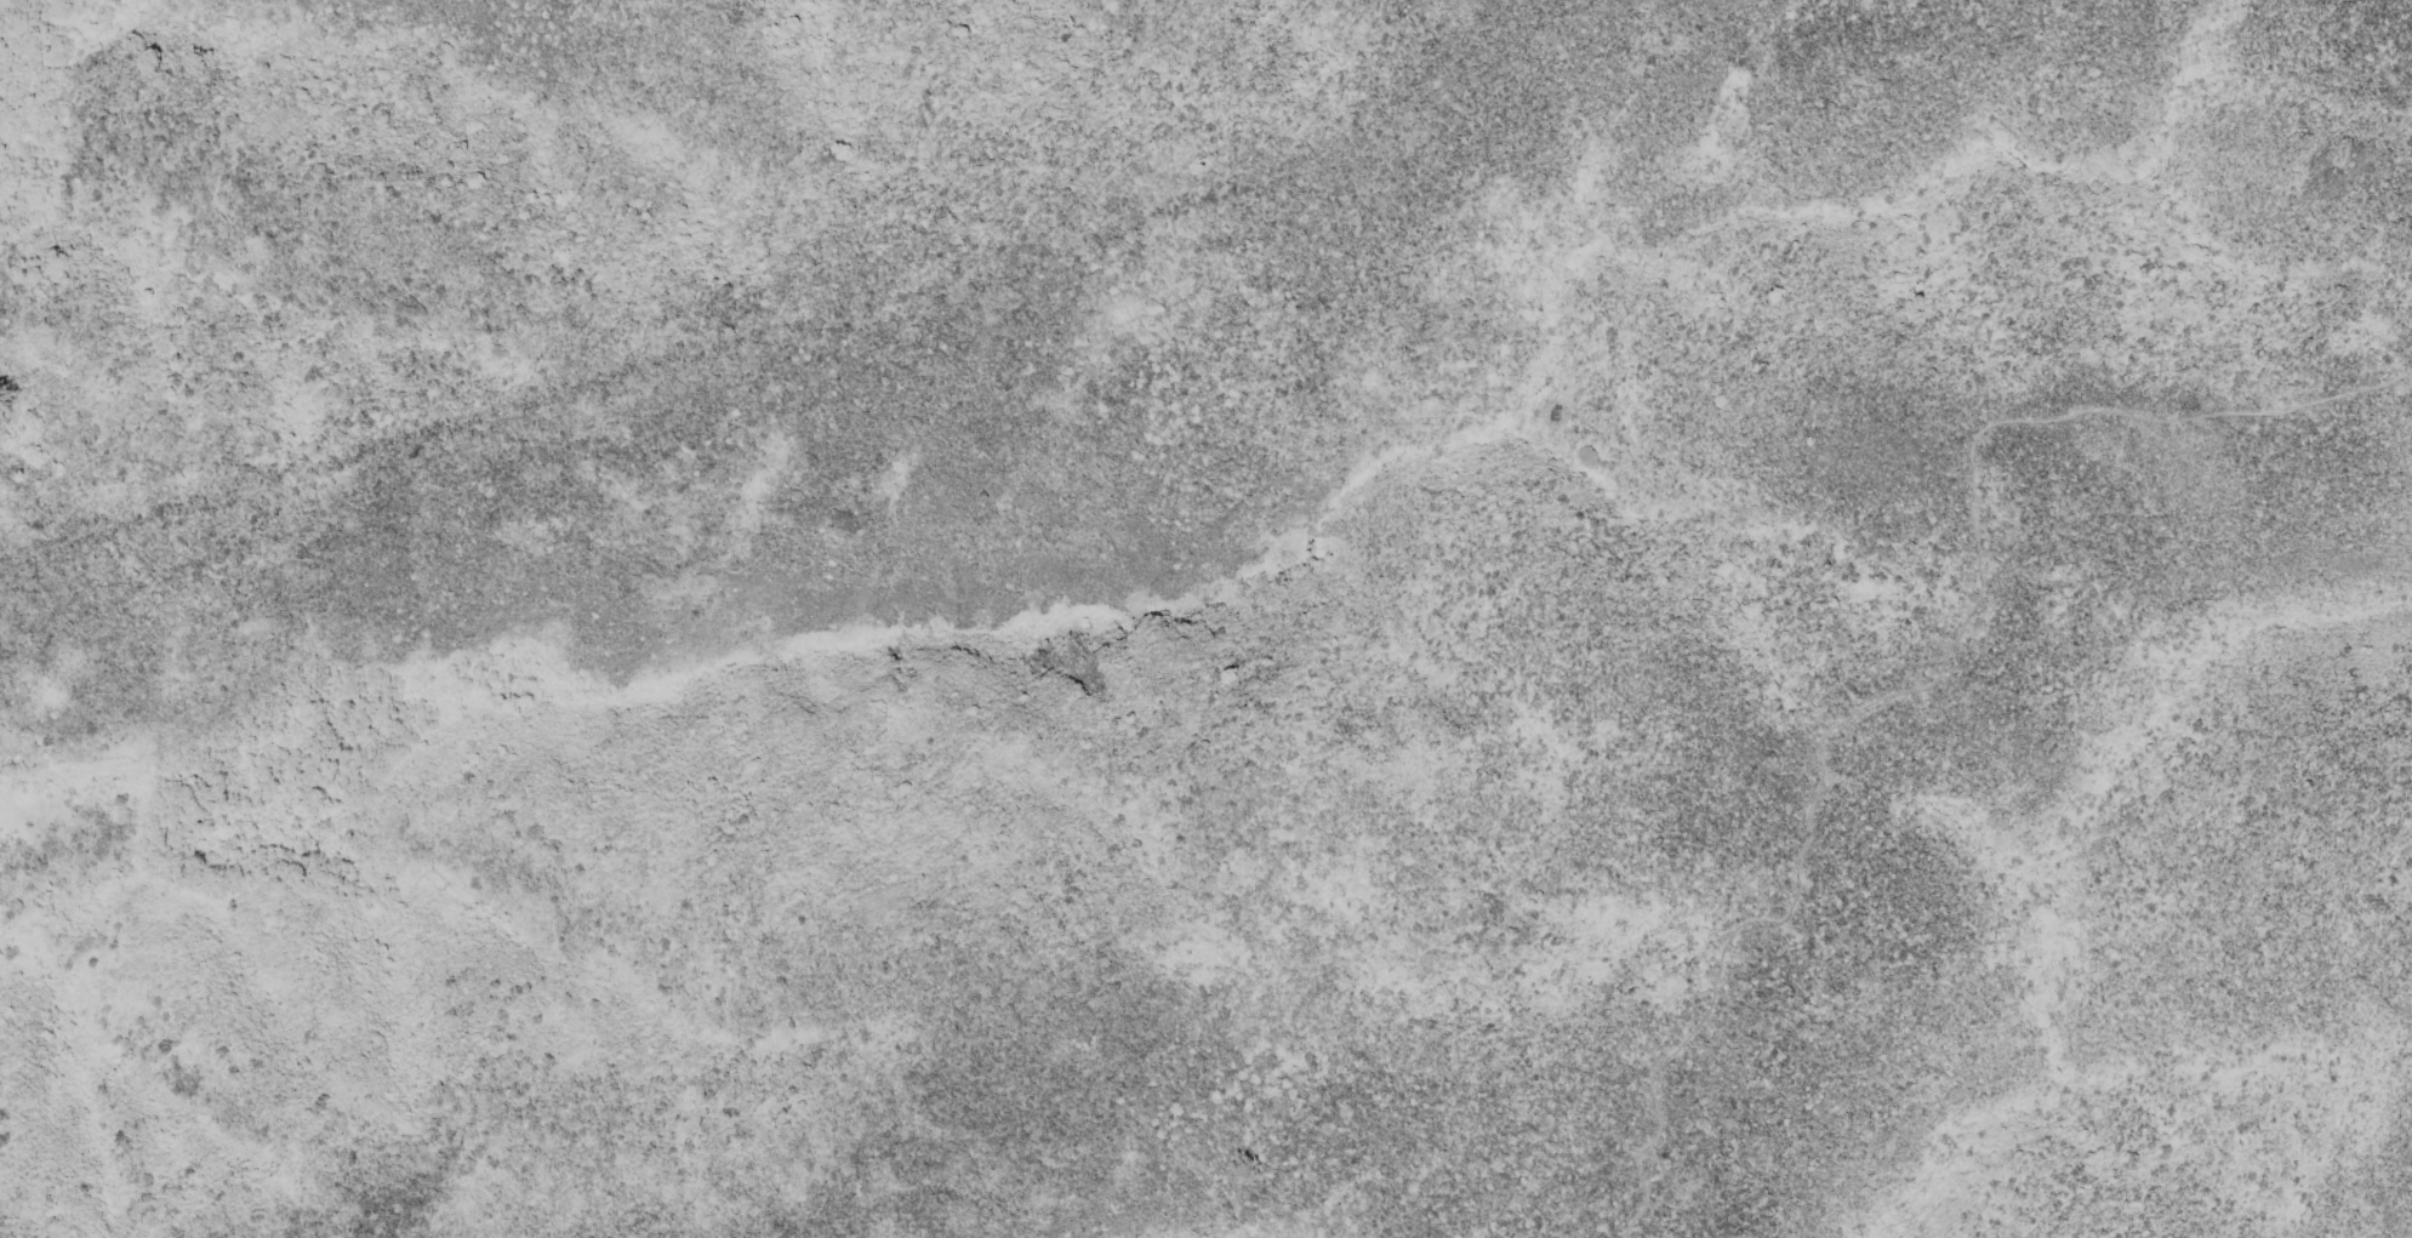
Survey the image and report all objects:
road: (1498, 8)
park: (1655, 623)
road: (1931, 669)

